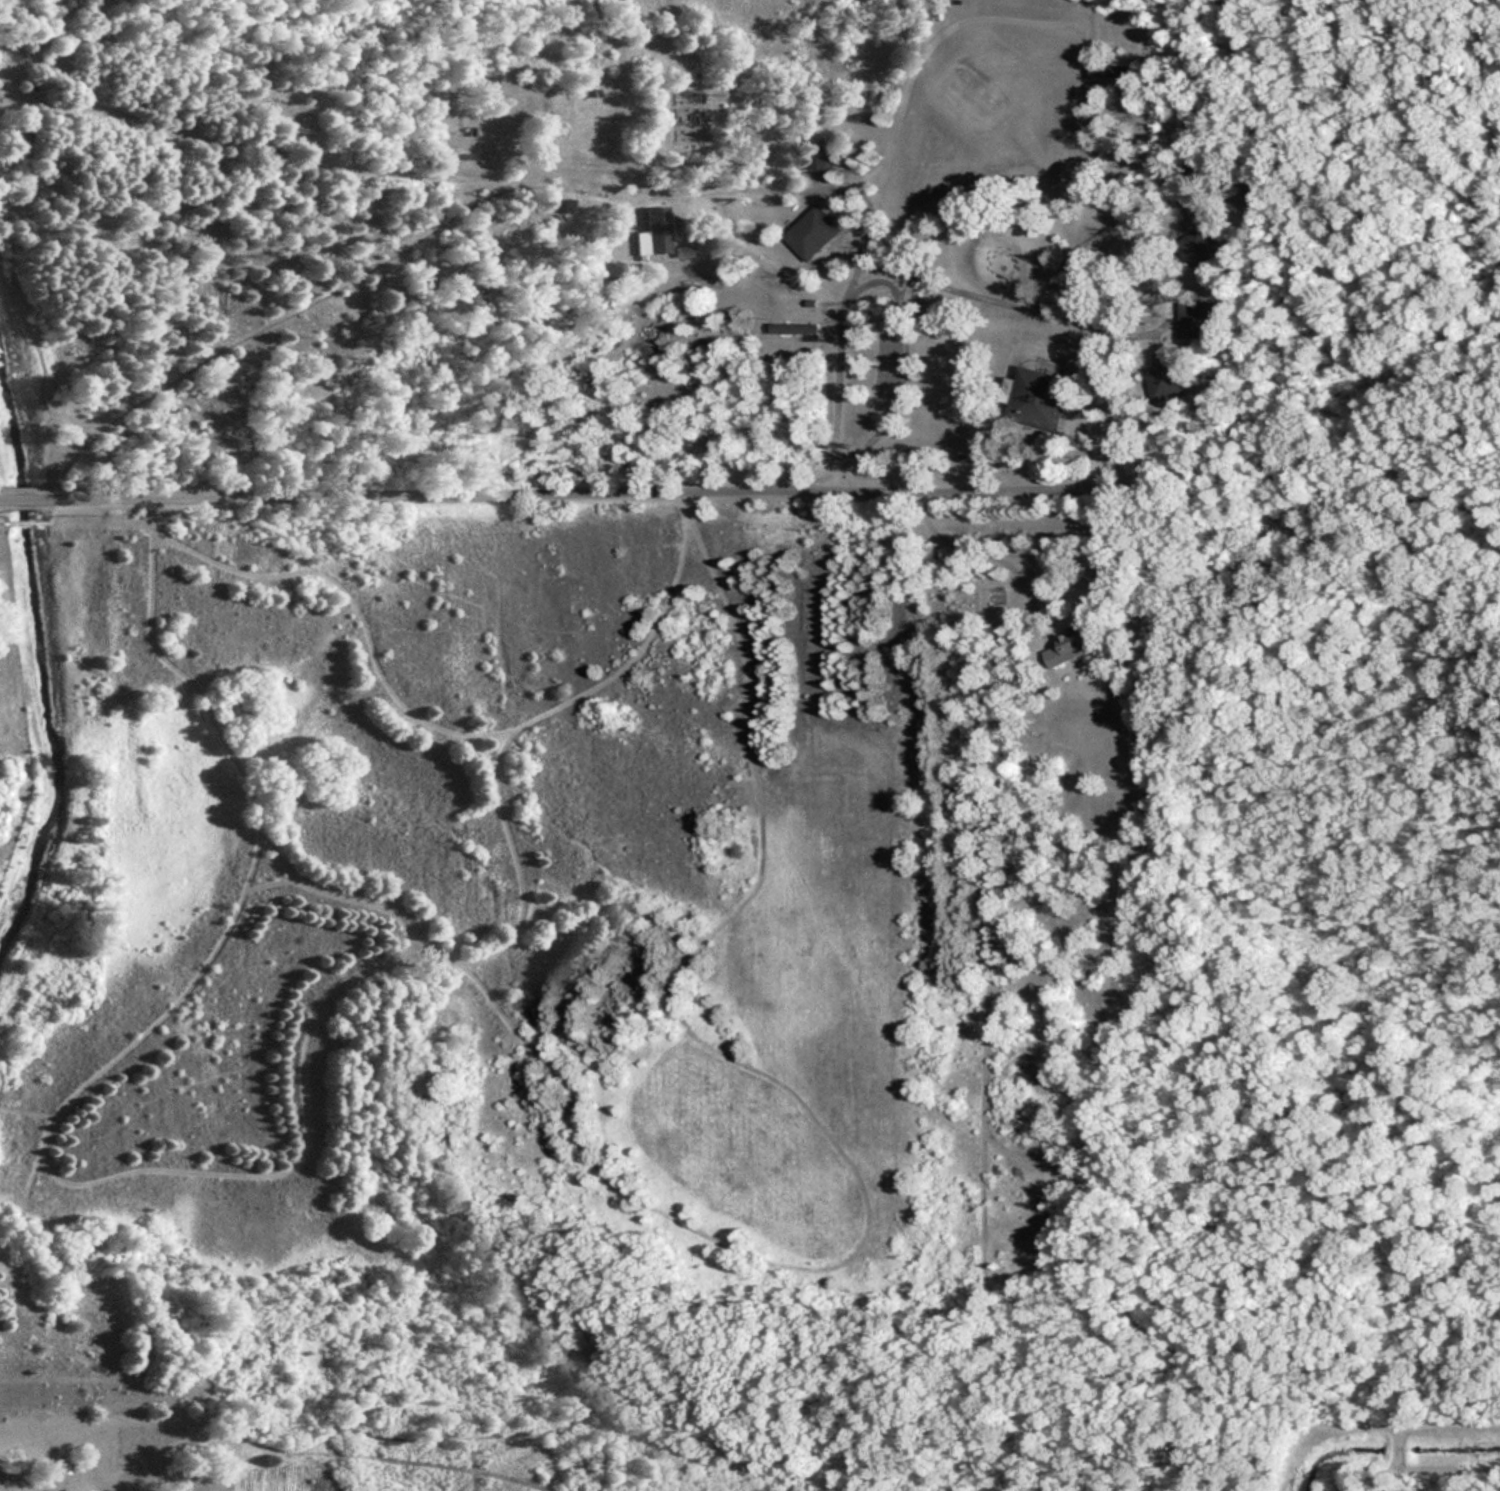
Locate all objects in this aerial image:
building: (1114, 70)
building: (687, 78)
building: (817, 150)
building: (654, 232)
building: (810, 233)
building: (1197, 254)
building: (1199, 319)
building: (792, 329)
building: (1164, 380)
building: (1037, 399)
road: (570, 494)
building: (1295, 516)
road: (977, 549)
building: (1072, 643)

